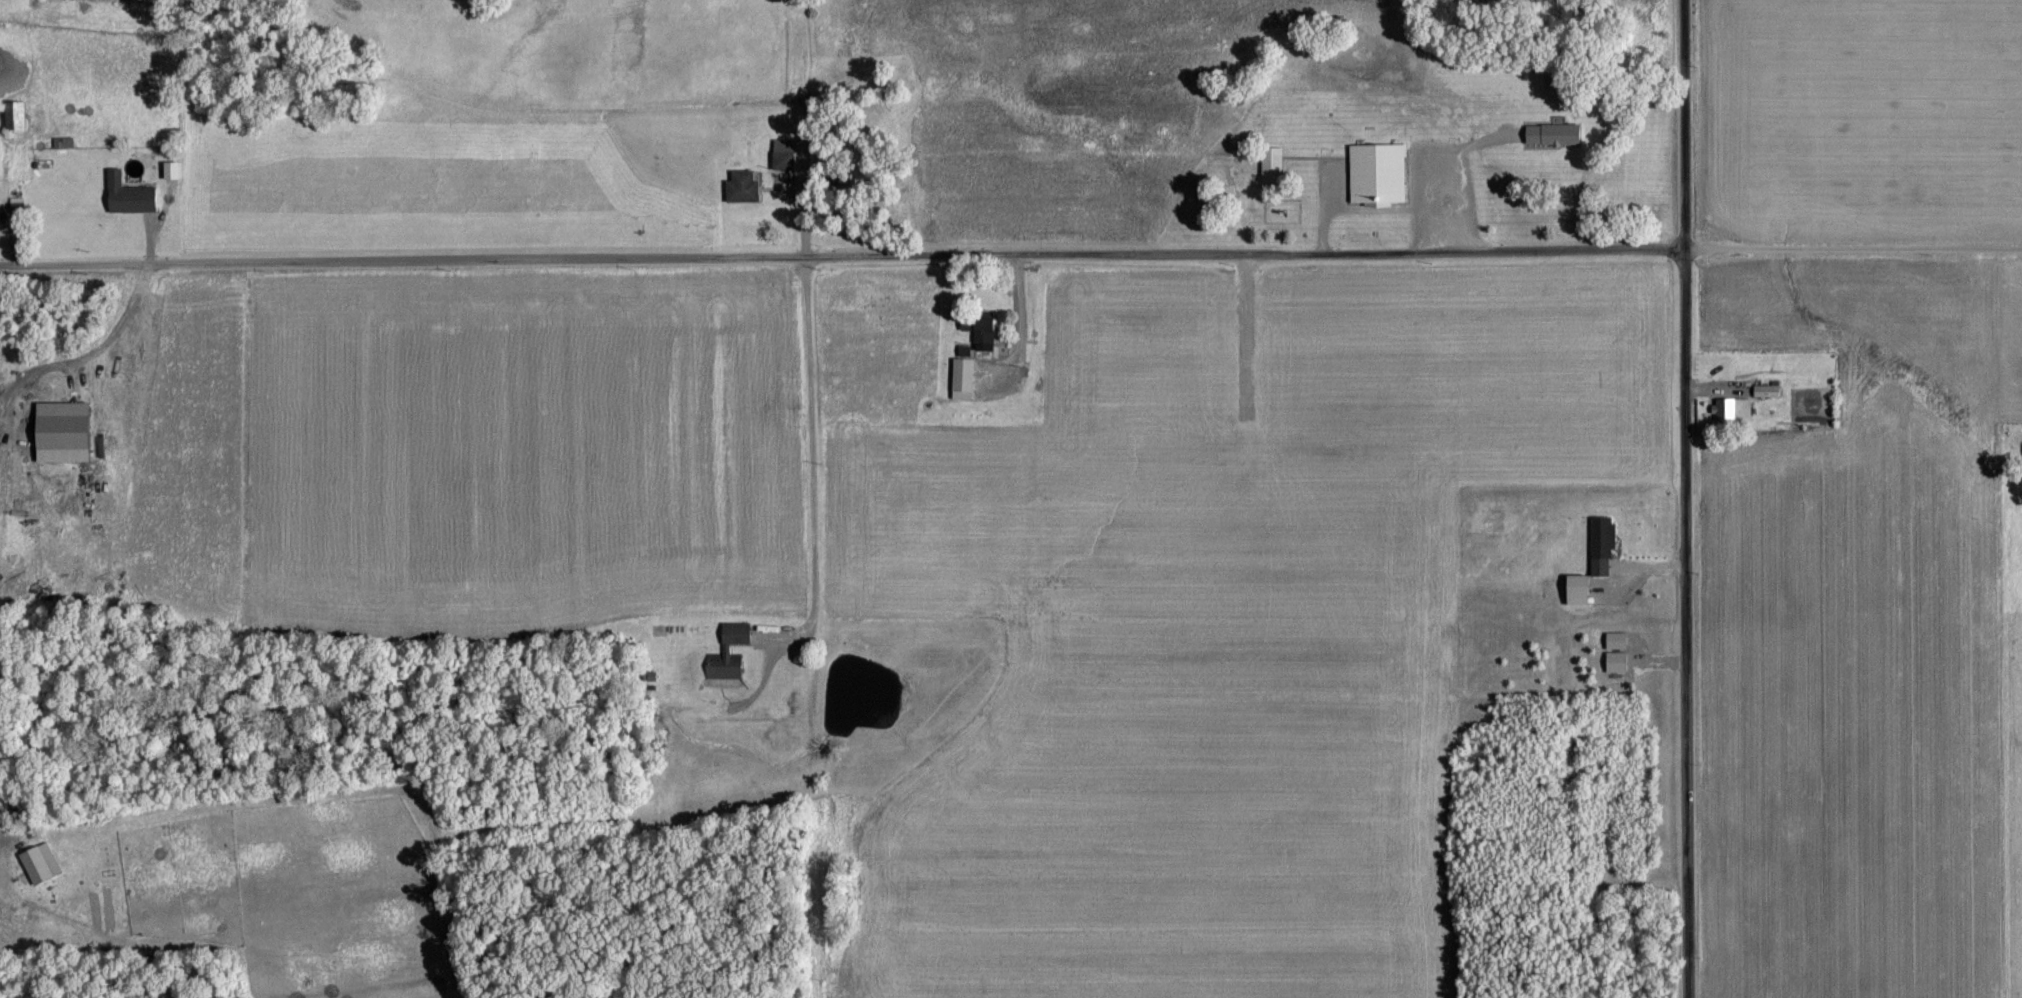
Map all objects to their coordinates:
building: (15, 115)
building: (1553, 135)
building: (1271, 164)
building: (171, 170)
building: (1377, 174)
building: (742, 188)
building: (128, 195)
road: (1853, 250)
road: (842, 260)
building: (984, 334)
road: (87, 358)
building: (962, 379)
building: (1766, 391)
building: (1732, 409)
building: (62, 432)
road: (810, 470)
road: (1688, 498)
building: (1601, 547)
building: (1578, 590)
building: (1616, 662)
road: (2, 838)
building: (40, 864)

